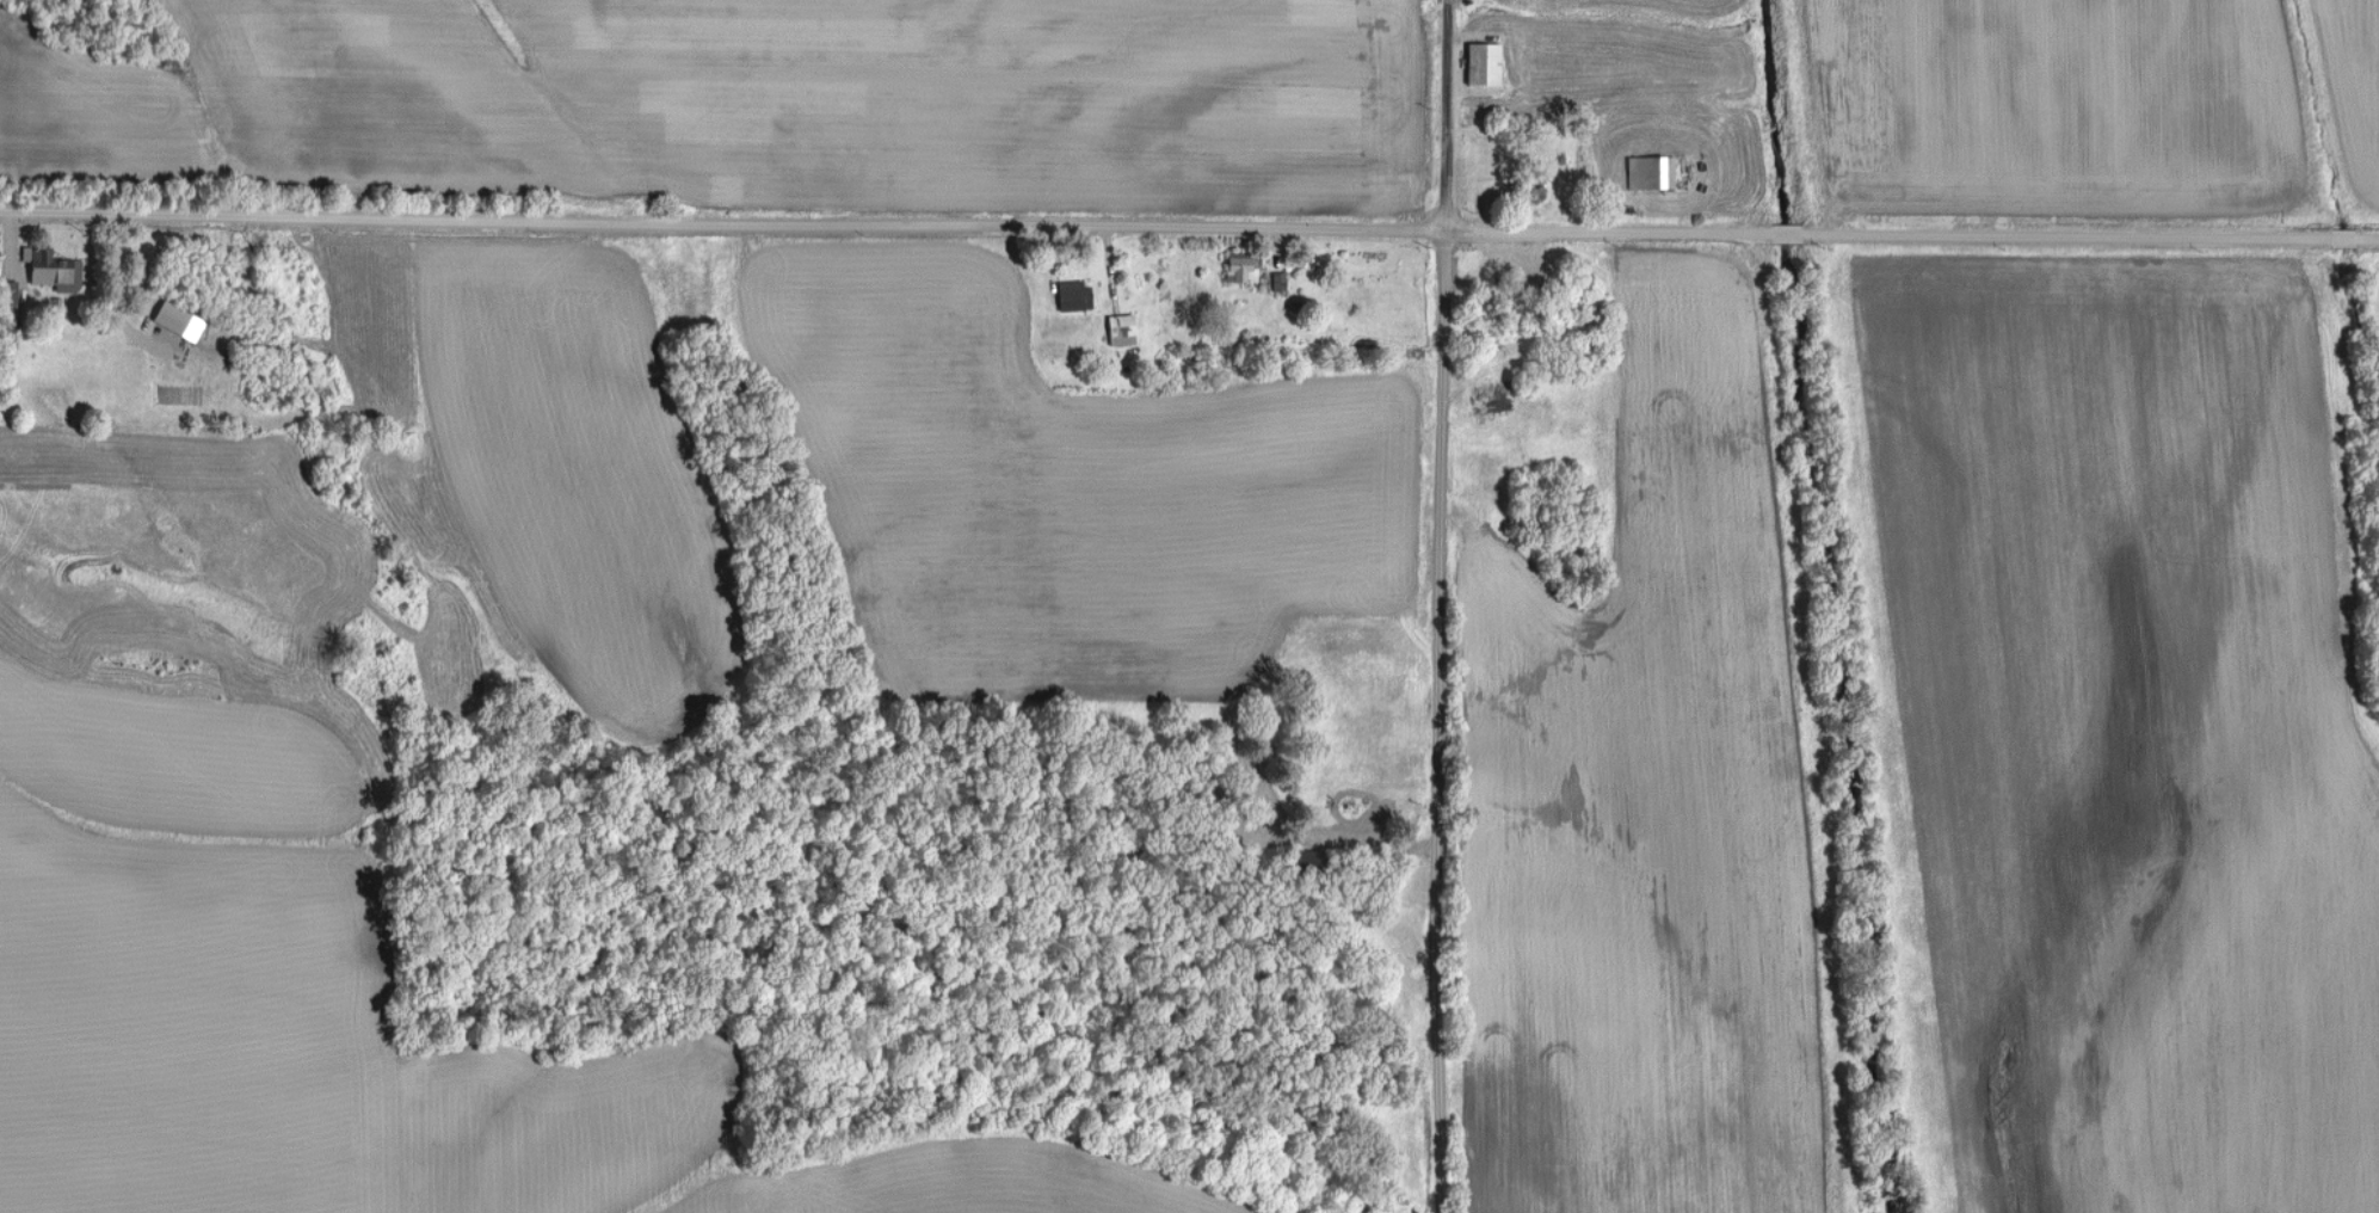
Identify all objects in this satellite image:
building: (1480, 63)
building: (1650, 171)
road: (1189, 211)
road: (1047, 232)
road: (8, 252)
building: (1239, 266)
building: (50, 267)
building: (7, 291)
building: (1072, 294)
building: (174, 320)
building: (1120, 328)
road: (1431, 606)

